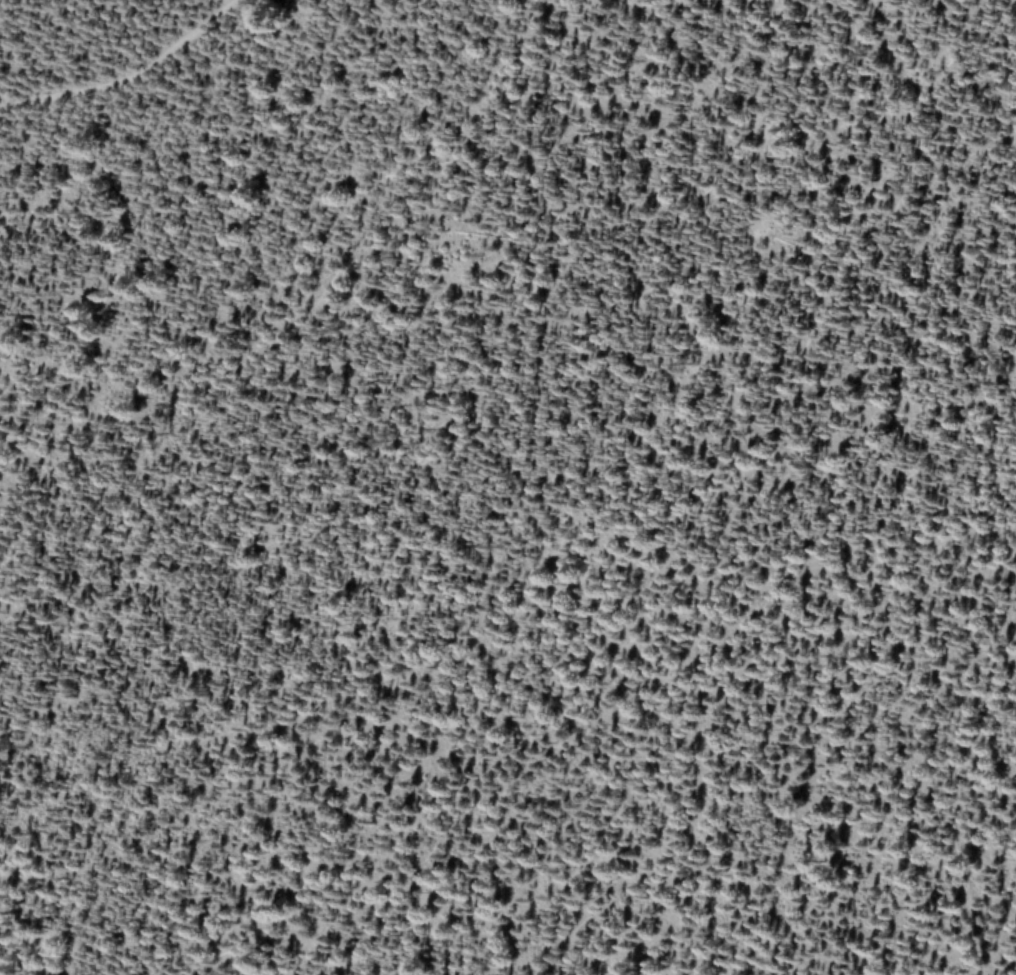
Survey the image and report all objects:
road: (129, 78)

